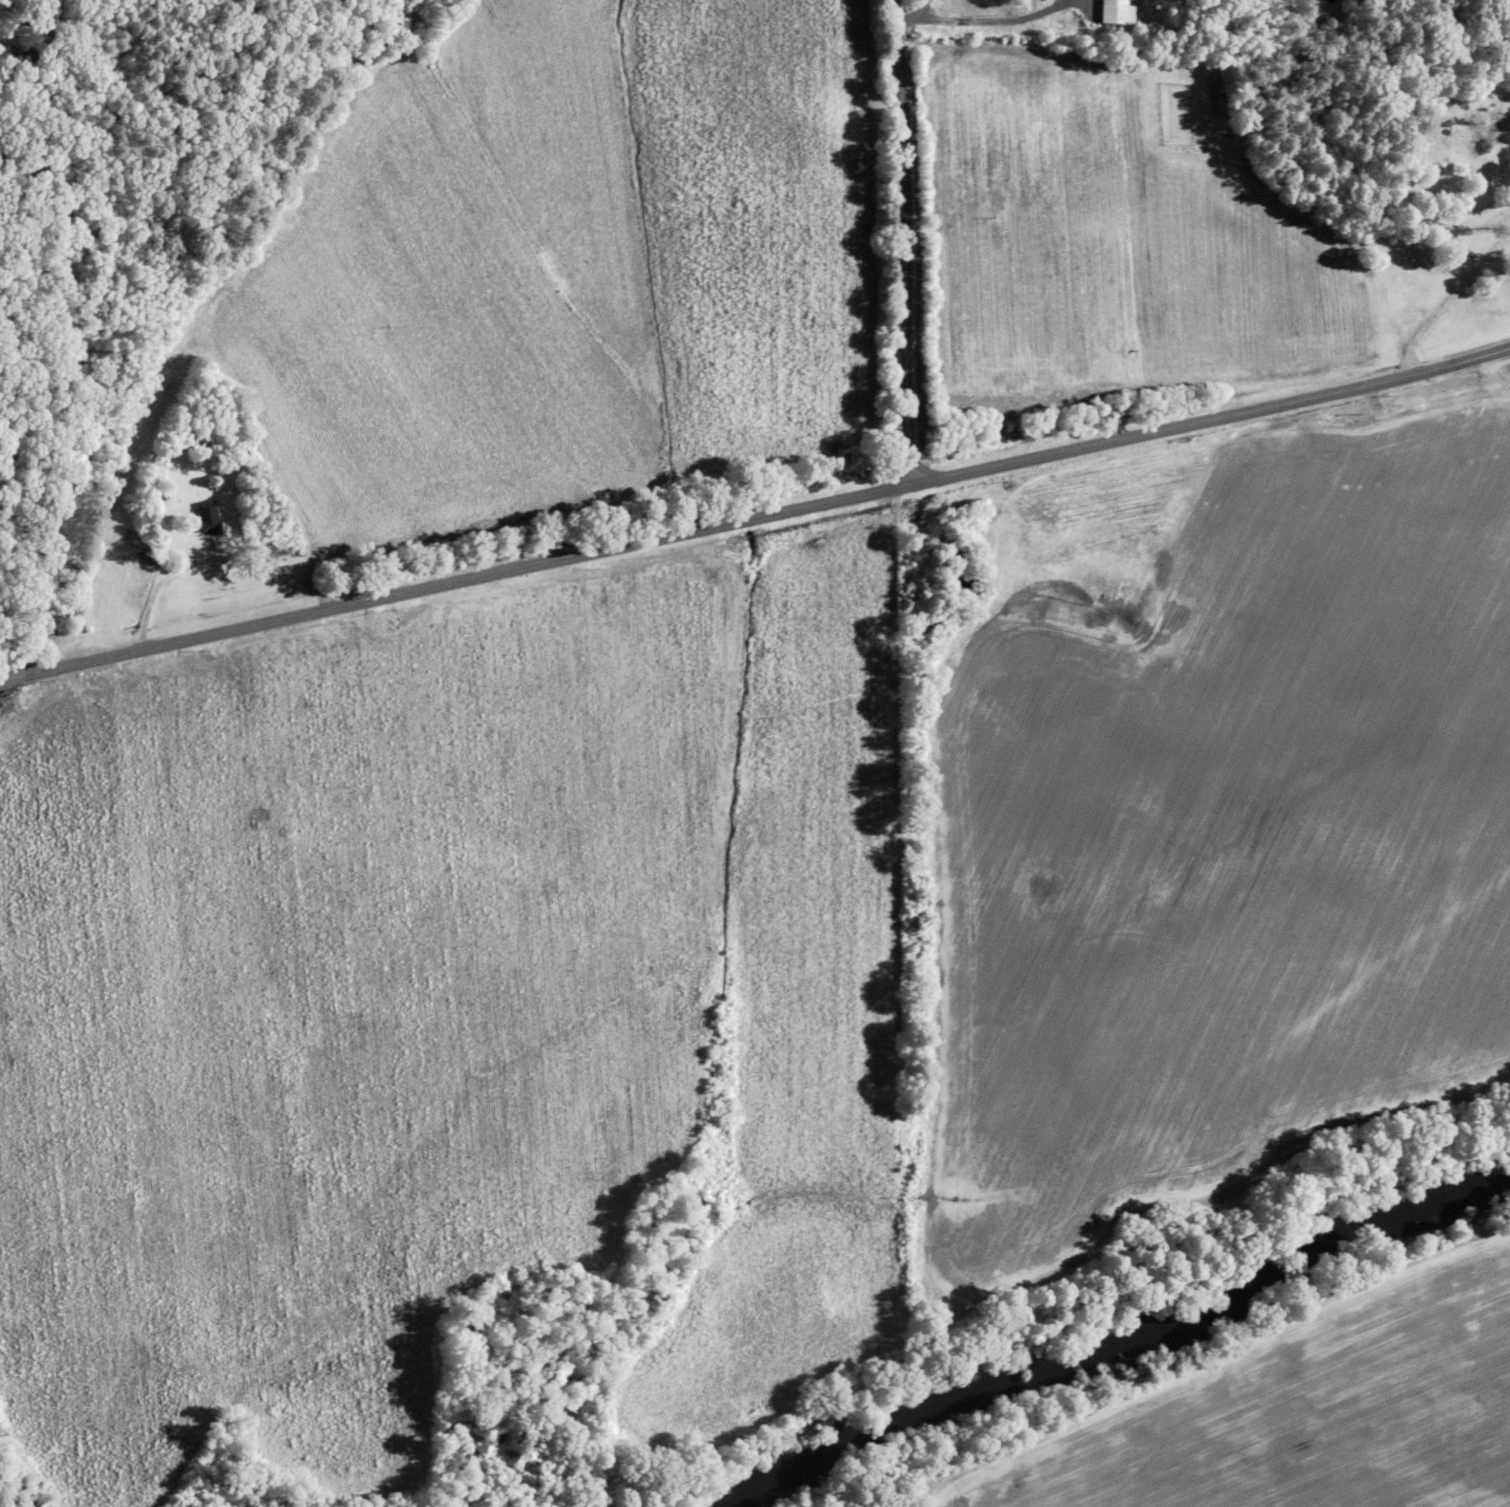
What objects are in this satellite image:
road: (918, 10)
building: (1120, 11)
road: (980, 21)
building: (1221, 105)
road: (904, 241)
road: (1450, 298)
road: (765, 514)
building: (210, 516)
road: (10, 676)
river: (1115, 1343)

